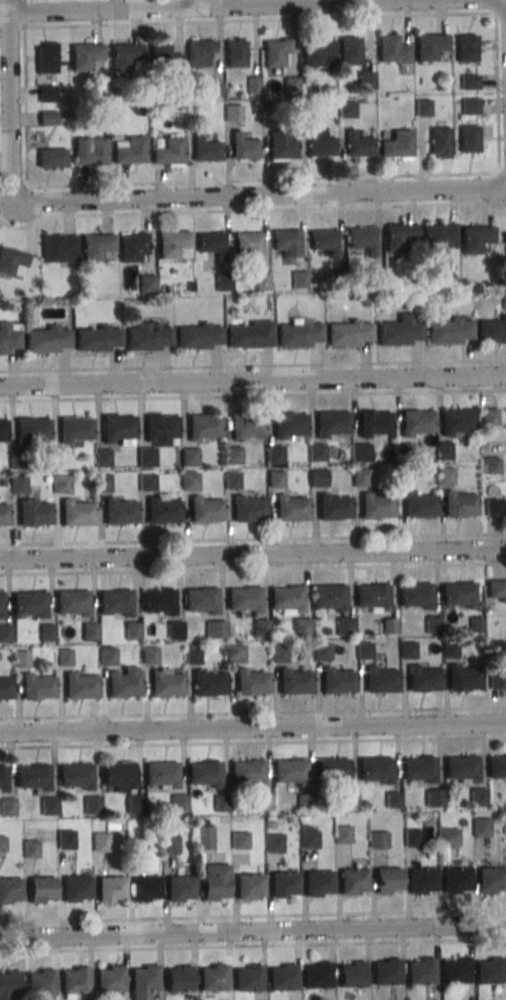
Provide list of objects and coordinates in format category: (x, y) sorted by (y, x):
road: (201, 3)
road: (254, 6)
road: (24, 14)
road: (502, 17)
building: (430, 46)
building: (466, 47)
building: (392, 49)
building: (349, 50)
building: (200, 51)
building: (276, 51)
building: (236, 53)
building: (319, 53)
building: (85, 55)
building: (125, 55)
building: (46, 58)
building: (165, 59)
building: (366, 79)
building: (469, 82)
building: (254, 85)
building: (291, 85)
building: (214, 88)
building: (47, 93)
road: (8, 100)
building: (469, 106)
building: (267, 107)
building: (346, 108)
building: (423, 108)
building: (141, 112)
building: (233, 112)
building: (306, 112)
building: (64, 114)
building: (156, 114)
building: (194, 114)
building: (49, 118)
building: (468, 138)
building: (320, 142)
building: (440, 142)
building: (358, 144)
building: (397, 144)
building: (281, 146)
building: (244, 147)
building: (205, 150)
building: (90, 151)
building: (131, 151)
building: (169, 152)
building: (53, 157)
road: (498, 174)
road: (260, 197)
road: (252, 210)
building: (440, 236)
building: (402, 237)
building: (505, 237)
building: (476, 239)
building: (363, 241)
building: (325, 242)
building: (172, 243)
building: (287, 243)
building: (211, 244)
building: (249, 244)
building: (96, 246)
building: (134, 247)
building: (59, 248)
building: (13, 262)
building: (339, 278)
building: (375, 278)
building: (300, 279)
building: (262, 281)
building: (223, 282)
building: (147, 283)
building: (191, 287)
building: (369, 294)
building: (378, 294)
building: (505, 300)
building: (492, 331)
building: (450, 332)
building: (400, 333)
building: (349, 334)
building: (299, 335)
building: (250, 336)
building: (198, 337)
building: (147, 338)
building: (8, 339)
building: (97, 339)
building: (48, 340)
road: (253, 366)
road: (253, 381)
road: (253, 395)
building: (491, 417)
building: (417, 423)
building: (457, 423)
building: (375, 424)
building: (332, 425)
building: (289, 426)
building: (246, 427)
building: (204, 428)
building: (118, 429)
building: (76, 430)
building: (160, 431)
building: (4, 432)
building: (32, 432)
building: (445, 451)
building: (317, 453)
building: (403, 453)
building: (361, 454)
building: (274, 455)
building: (231, 456)
building: (103, 458)
building: (146, 458)
building: (189, 458)
building: (61, 459)
building: (18, 460)
building: (491, 465)
building: (446, 477)
building: (361, 478)
building: (404, 478)
building: (47, 479)
building: (317, 479)
building: (275, 480)
building: (231, 481)
building: (3, 482)
building: (190, 482)
building: (103, 483)
building: (146, 483)
building: (19, 485)
building: (61, 486)
building: (460, 506)
building: (494, 506)
building: (420, 507)
building: (377, 508)
building: (333, 509)
building: (249, 510)
building: (291, 510)
building: (205, 511)
building: (162, 512)
building: (120, 513)
building: (34, 514)
building: (77, 515)
building: (4, 516)
road: (253, 539)
road: (253, 553)
road: (253, 569)
building: (496, 590)
building: (458, 596)
building: (415, 597)
building: (330, 598)
building: (373, 598)
building: (244, 600)
building: (286, 600)
building: (201, 601)
building: (158, 602)
building: (115, 603)
building: (72, 604)
building: (30, 605)
building: (2, 607)
building: (346, 626)
building: (432, 626)
building: (476, 626)
building: (390, 627)
building: (303, 628)
building: (261, 629)
building: (175, 631)
building: (216, 631)
building: (132, 632)
building: (89, 633)
building: (6, 634)
building: (47, 634)
building: (497, 649)
building: (450, 650)
building: (364, 651)
building: (407, 651)
building: (322, 652)
building: (236, 654)
building: (278, 654)
building: (193, 656)
building: (149, 657)
building: (21, 658)
building: (107, 658)
building: (64, 659)
building: (464, 680)
building: (381, 681)
building: (424, 681)
building: (338, 682)
building: (497, 682)
building: (252, 683)
building: (295, 683)
building: (124, 685)
building: (209, 685)
building: (166, 686)
building: (38, 688)
building: (81, 688)
building: (6, 690)
road: (253, 713)
road: (253, 728)
road: (253, 742)
building: (496, 765)
building: (460, 767)
building: (375, 768)
building: (418, 768)
building: (332, 769)
building: (289, 770)
building: (247, 772)
building: (161, 773)
building: (204, 773)
building: (76, 775)
building: (118, 775)
building: (33, 776)
building: (3, 778)
building: (477, 797)
building: (433, 798)
building: (348, 800)
building: (392, 800)
building: (263, 801)
building: (305, 801)
building: (178, 803)
building: (221, 803)
building: (134, 804)
building: (92, 805)
building: (49, 806)
building: (8, 807)
building: (169, 823)
building: (239, 825)
building: (480, 827)
building: (342, 835)
building: (308, 837)
building: (412, 837)
building: (448, 837)
building: (204, 838)
building: (66, 839)
building: (377, 839)
building: (239, 840)
building: (100, 842)
building: (273, 843)
building: (3, 844)
building: (169, 844)
building: (134, 846)
building: (31, 848)
building: (456, 879)
building: (490, 879)
building: (386, 880)
building: (421, 880)
building: (215, 881)
building: (352, 881)
building: (317, 883)
building: (283, 884)
building: (248, 886)
building: (76, 888)
building: (145, 888)
building: (180, 888)
building: (10, 889)
building: (41, 889)
building: (110, 889)
road: (253, 916)
road: (252, 930)
road: (253, 946)
building: (421, 970)
building: (455, 970)
building: (490, 970)
building: (385, 971)
building: (351, 974)
building: (317, 975)
building: (213, 977)
building: (282, 977)
building: (110, 978)
building: (179, 978)
building: (248, 978)
building: (75, 980)
building: (144, 981)
building: (41, 982)
building: (9, 983)

